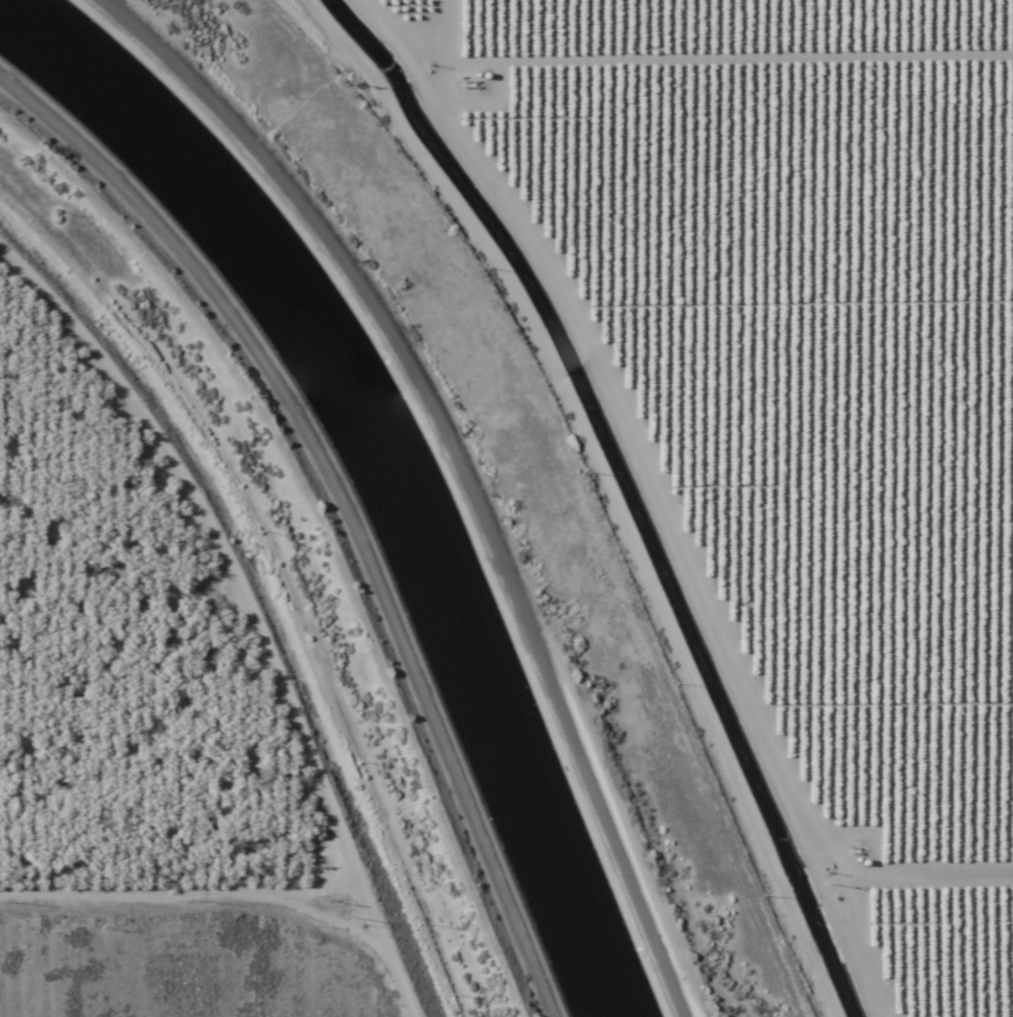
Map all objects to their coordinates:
road: (342, 508)

